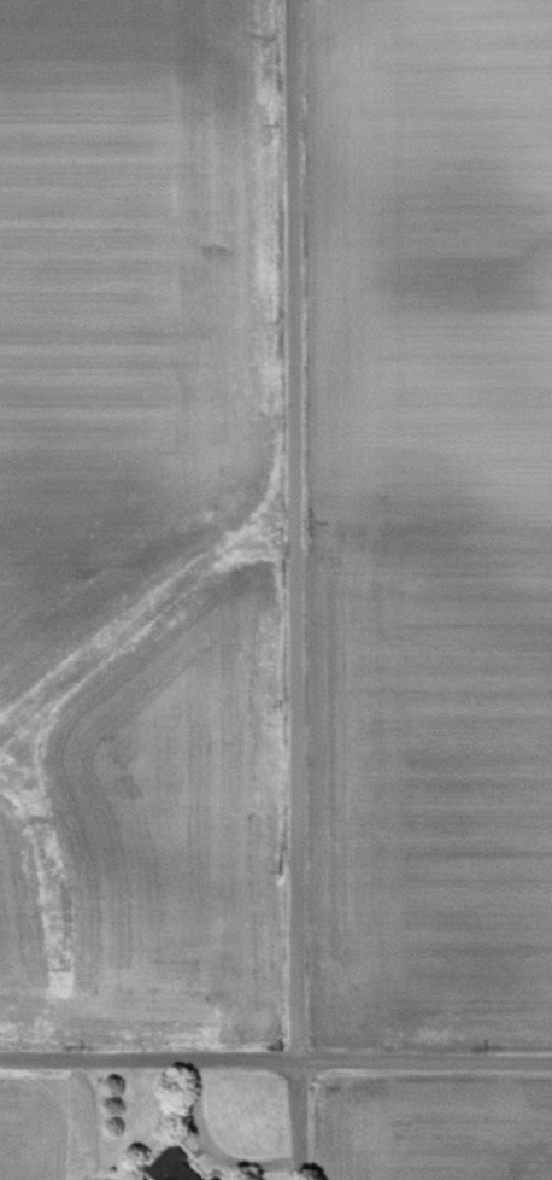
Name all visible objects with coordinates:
road: (295, 589)
road: (275, 1062)
building: (175, 1167)
building: (217, 1179)

